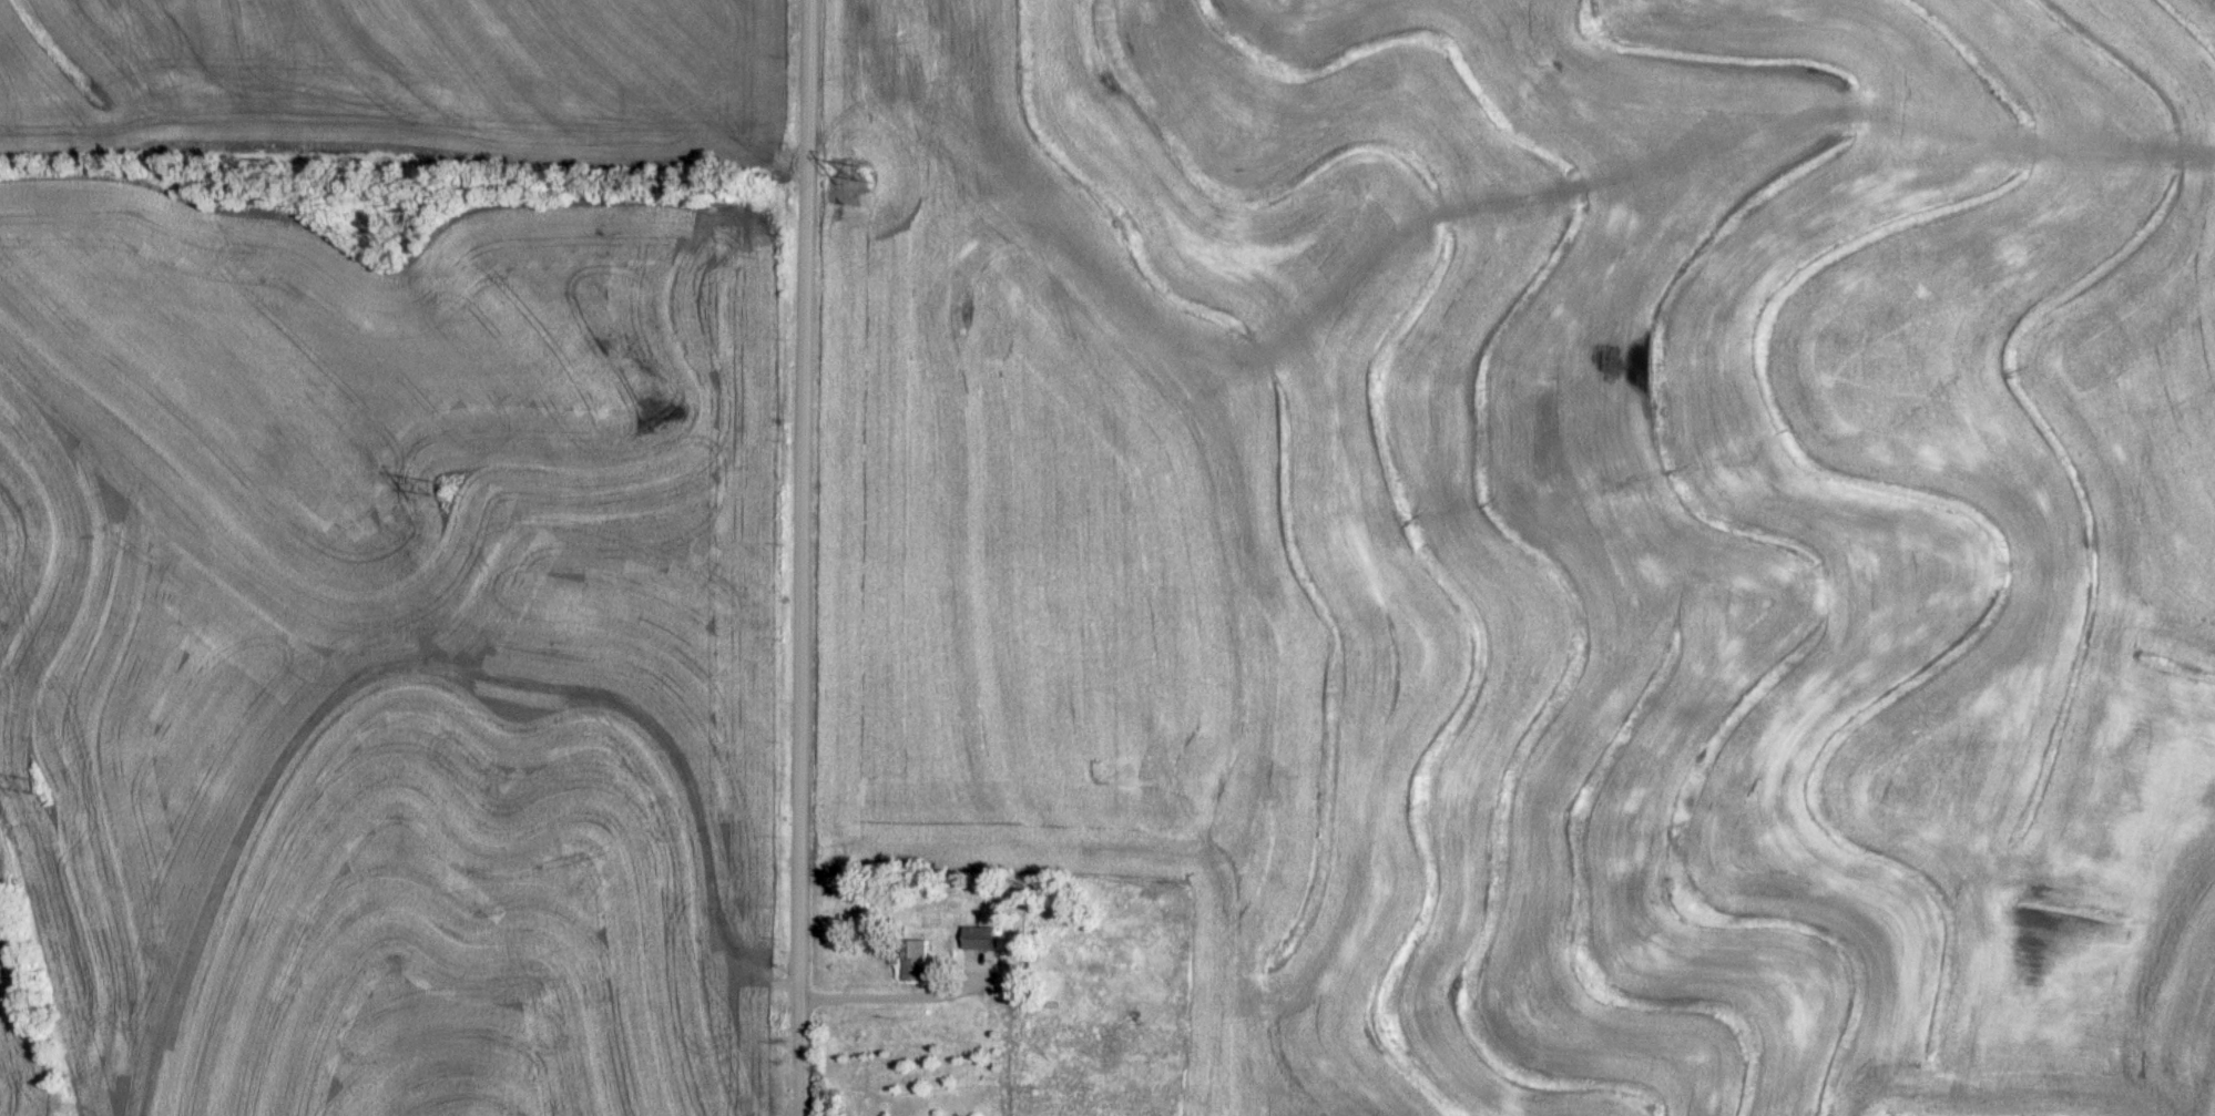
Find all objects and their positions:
power tower: (862, 172)
power tower: (437, 487)
road: (782, 557)
power tower: (38, 785)
building: (972, 942)
building: (1086, 944)
building: (908, 958)

